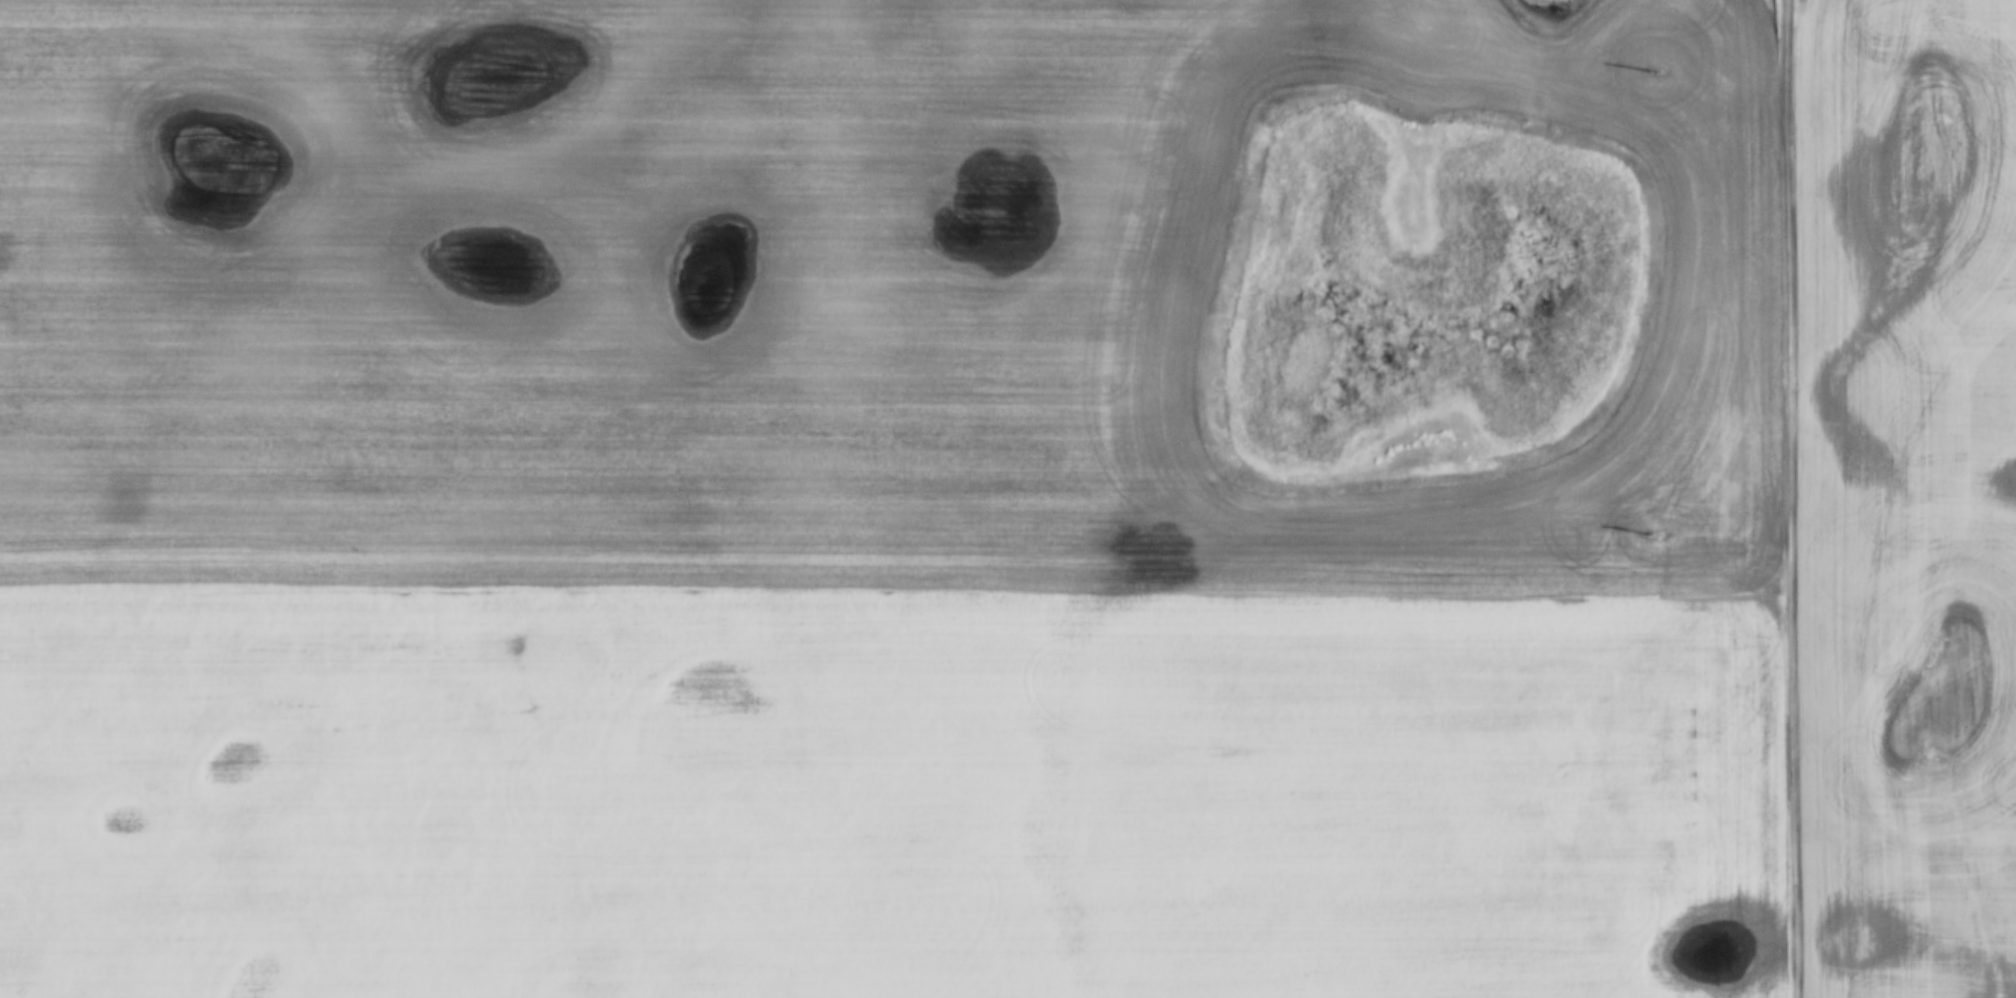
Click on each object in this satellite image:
road: (1790, 499)

